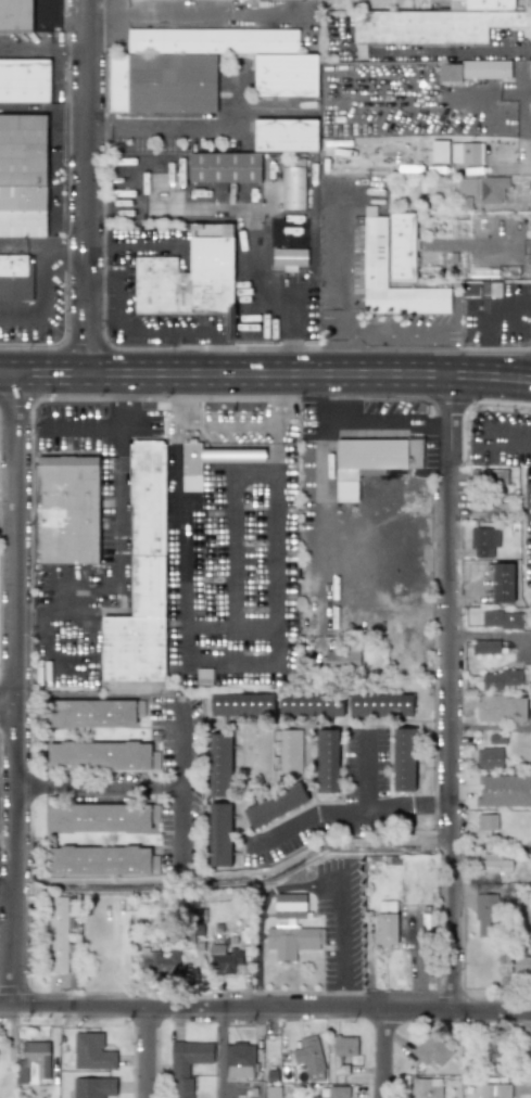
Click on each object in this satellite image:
road: (46, 10)
road: (195, 11)
building: (15, 14)
road: (116, 21)
building: (438, 23)
road: (45, 47)
road: (438, 50)
building: (181, 65)
building: (485, 68)
building: (448, 72)
building: (286, 75)
building: (24, 80)
road: (27, 108)
road: (211, 130)
building: (285, 135)
road: (54, 137)
building: (23, 150)
building: (438, 151)
building: (465, 153)
road: (151, 162)
building: (224, 167)
road: (89, 187)
building: (292, 188)
building: (480, 190)
building: (23, 212)
road: (263, 219)
road: (138, 243)
building: (402, 245)
building: (368, 252)
road: (66, 256)
building: (288, 258)
building: (189, 274)
building: (14, 277)
building: (480, 290)
road: (39, 304)
road: (127, 332)
road: (122, 353)
road: (265, 374)
road: (276, 421)
road: (385, 421)
road: (210, 423)
road: (96, 425)
building: (203, 461)
building: (370, 461)
building: (491, 476)
road: (320, 496)
building: (65, 509)
building: (489, 509)
road: (9, 525)
road: (229, 526)
building: (483, 539)
road: (116, 550)
road: (274, 571)
building: (141, 576)
building: (502, 578)
road: (187, 583)
building: (501, 617)
building: (488, 644)
building: (342, 656)
road: (58, 657)
road: (214, 660)
building: (502, 679)
road: (17, 691)
road: (450, 693)
building: (382, 702)
building: (241, 704)
building: (311, 704)
building: (500, 705)
road: (9, 710)
building: (93, 713)
road: (180, 750)
building: (289, 751)
building: (101, 755)
building: (489, 756)
building: (403, 759)
building: (326, 761)
building: (219, 765)
building: (504, 791)
road: (132, 797)
road: (374, 802)
building: (275, 805)
building: (101, 817)
road: (307, 821)
building: (486, 821)
building: (219, 834)
building: (101, 859)
building: (495, 863)
road: (260, 914)
building: (485, 915)
building: (385, 922)
building: (291, 929)
building: (60, 930)
road: (343, 943)
building: (223, 959)
building: (160, 962)
building: (522, 966)
road: (265, 1011)
building: (431, 1050)
building: (495, 1051)
building: (91, 1052)
building: (342, 1052)
road: (147, 1054)
road: (382, 1055)
building: (308, 1058)
building: (239, 1060)
building: (33, 1062)
building: (187, 1064)
building: (93, 1087)
building: (426, 1087)
building: (494, 1090)
building: (273, 1091)
building: (336, 1091)

